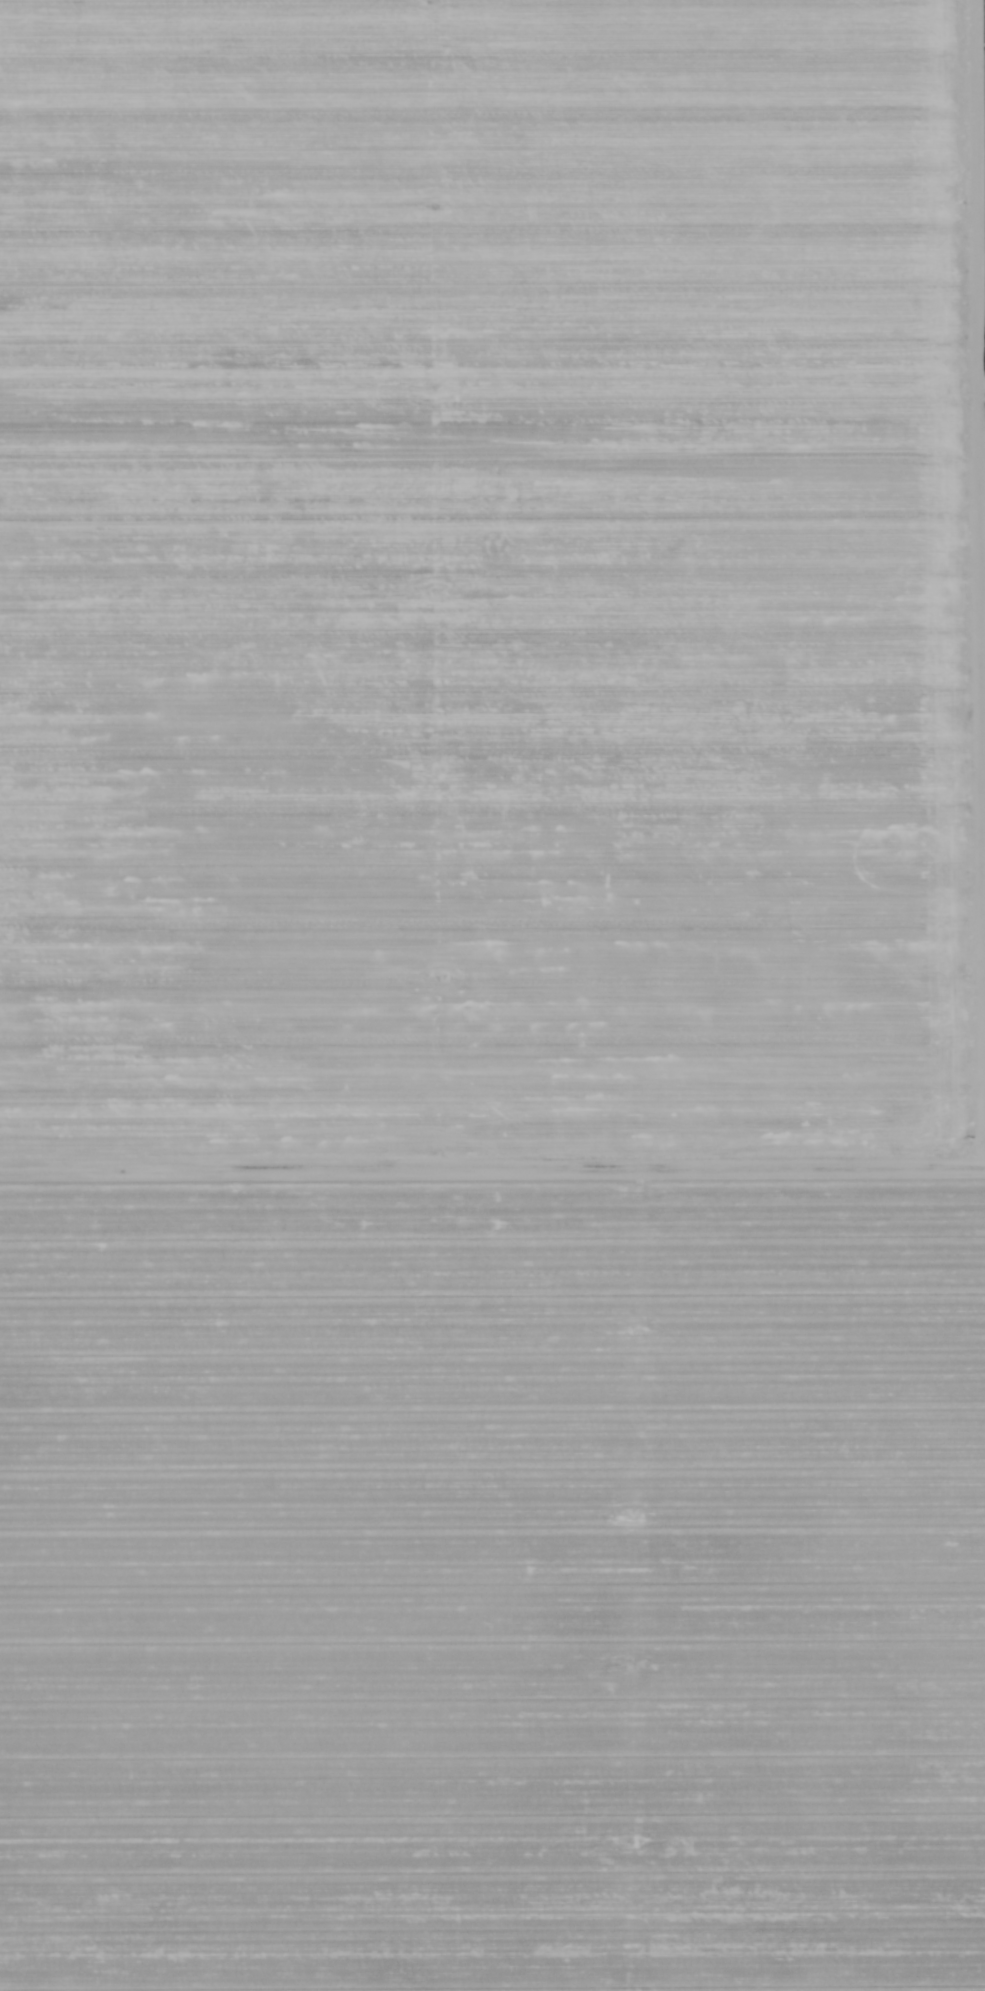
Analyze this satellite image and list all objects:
crop: (492, 995)
road: (492, 1161)

